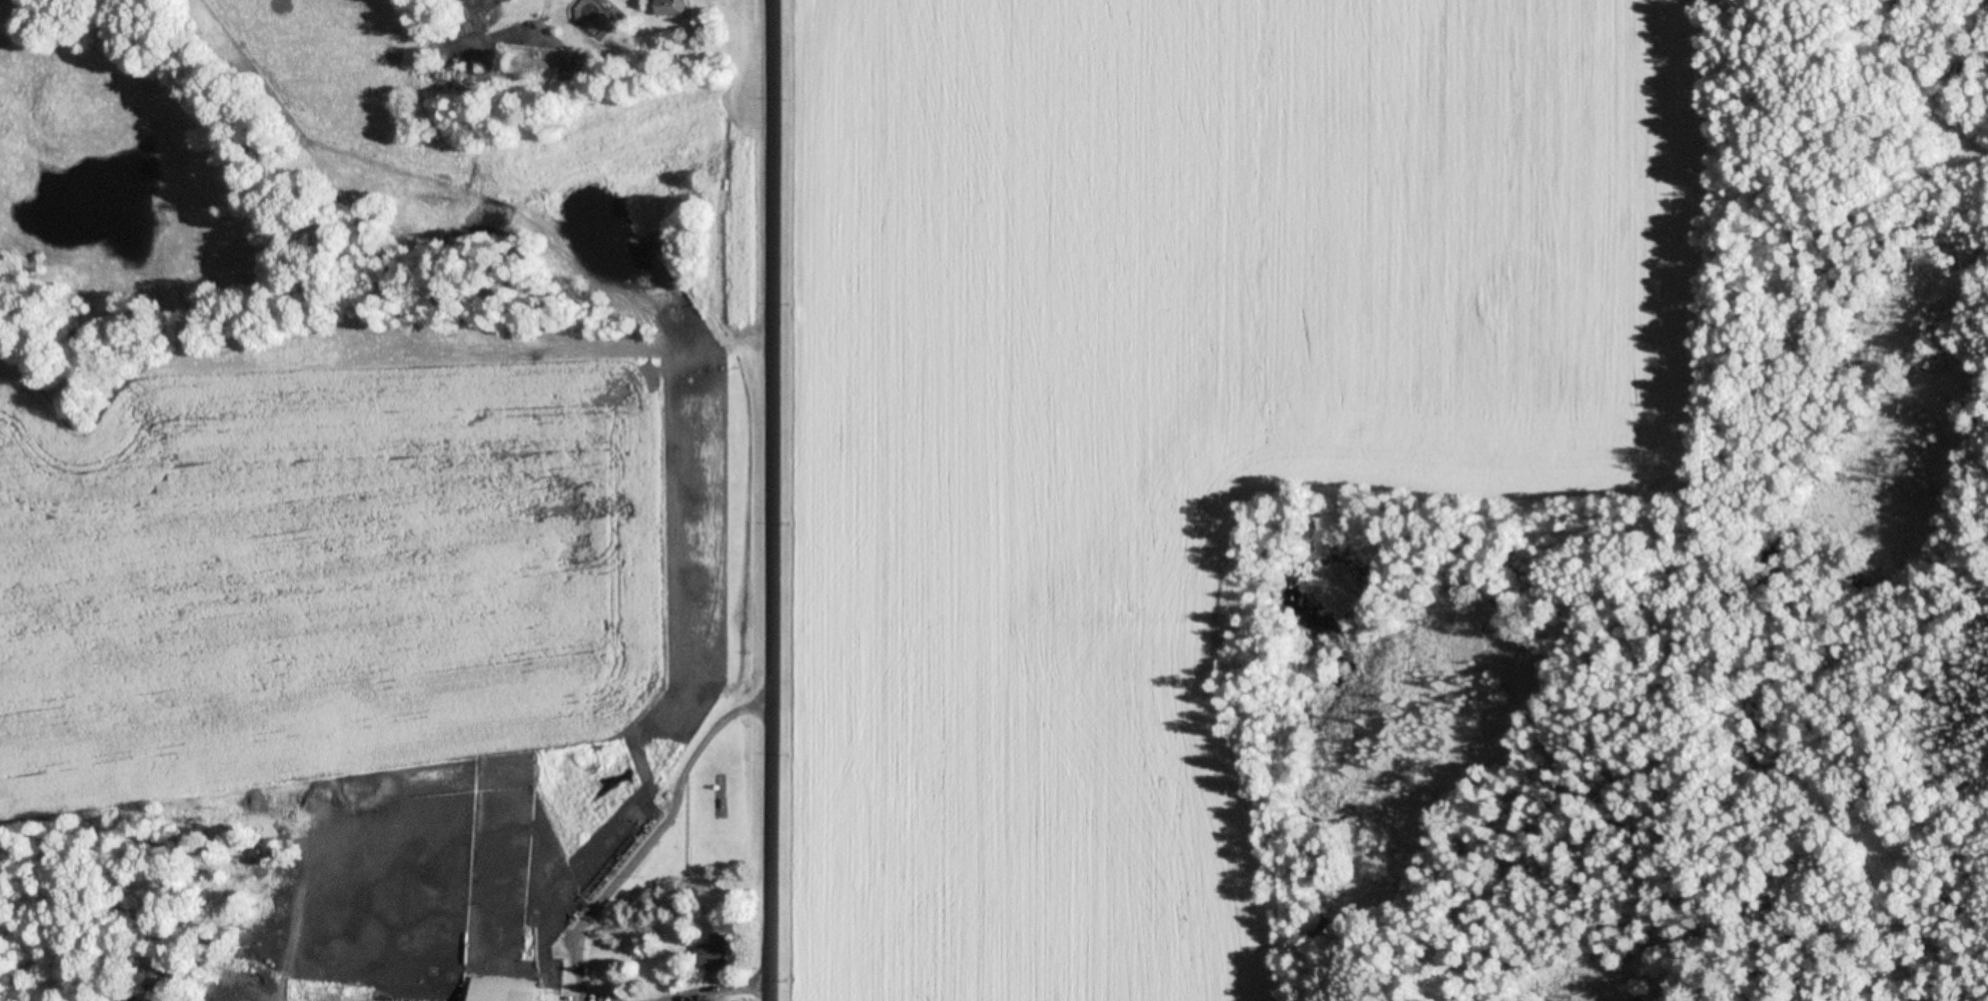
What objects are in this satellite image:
building: (675, 8)
road: (784, 500)
building: (720, 954)
building: (528, 996)

